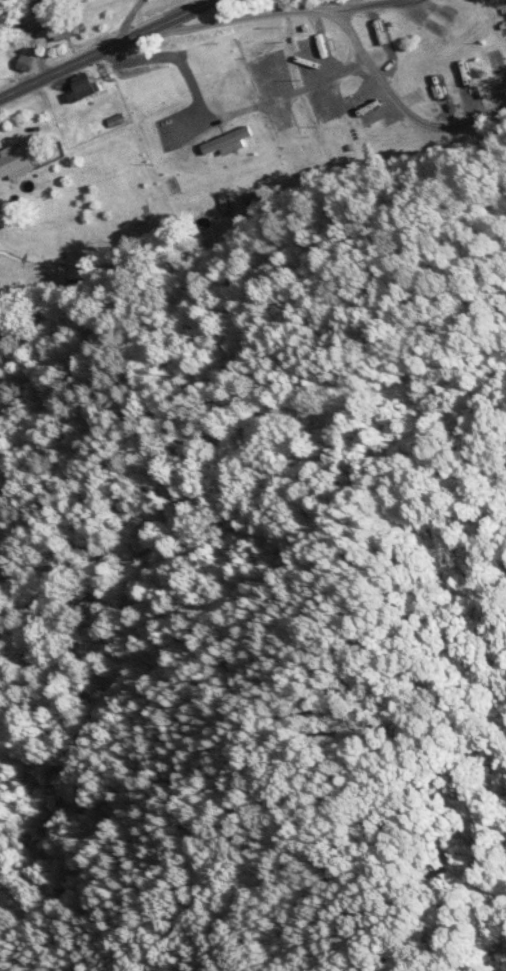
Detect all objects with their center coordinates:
road: (365, 6)
building: (62, 24)
building: (446, 29)
road: (353, 42)
road: (108, 48)
building: (315, 51)
building: (25, 65)
building: (502, 67)
building: (257, 68)
building: (469, 80)
building: (85, 89)
building: (202, 89)
building: (347, 106)
road: (421, 124)
building: (286, 132)
building: (229, 141)
building: (16, 162)
building: (178, 166)

